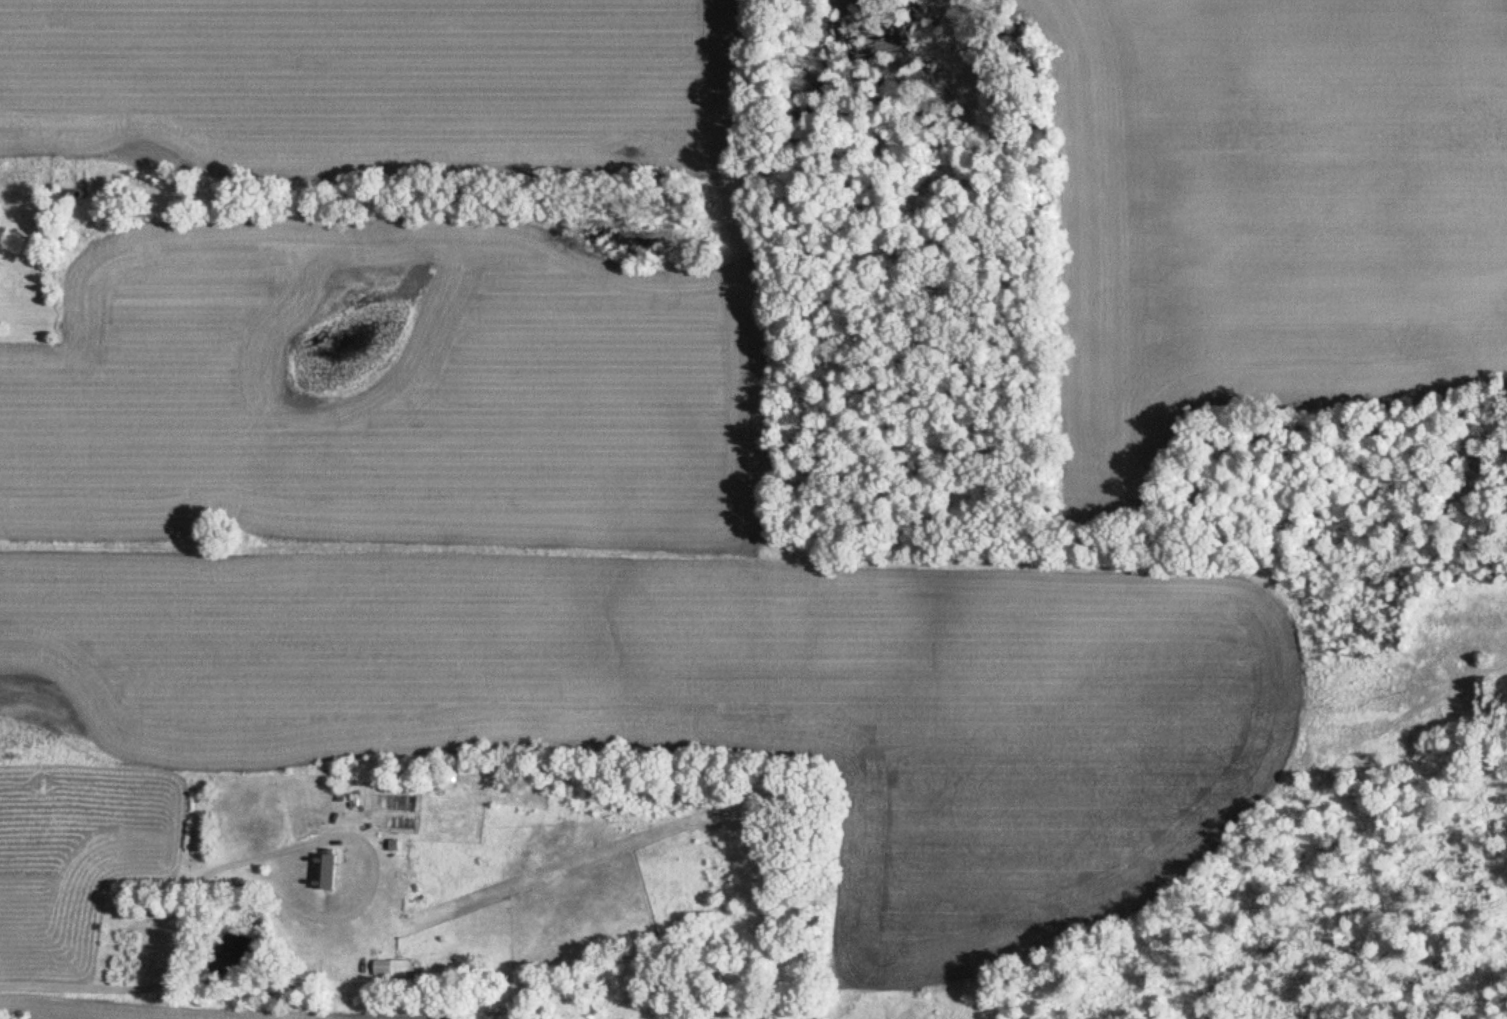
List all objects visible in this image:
building: (327, 873)
road: (353, 904)
building: (383, 969)
road: (105, 988)

